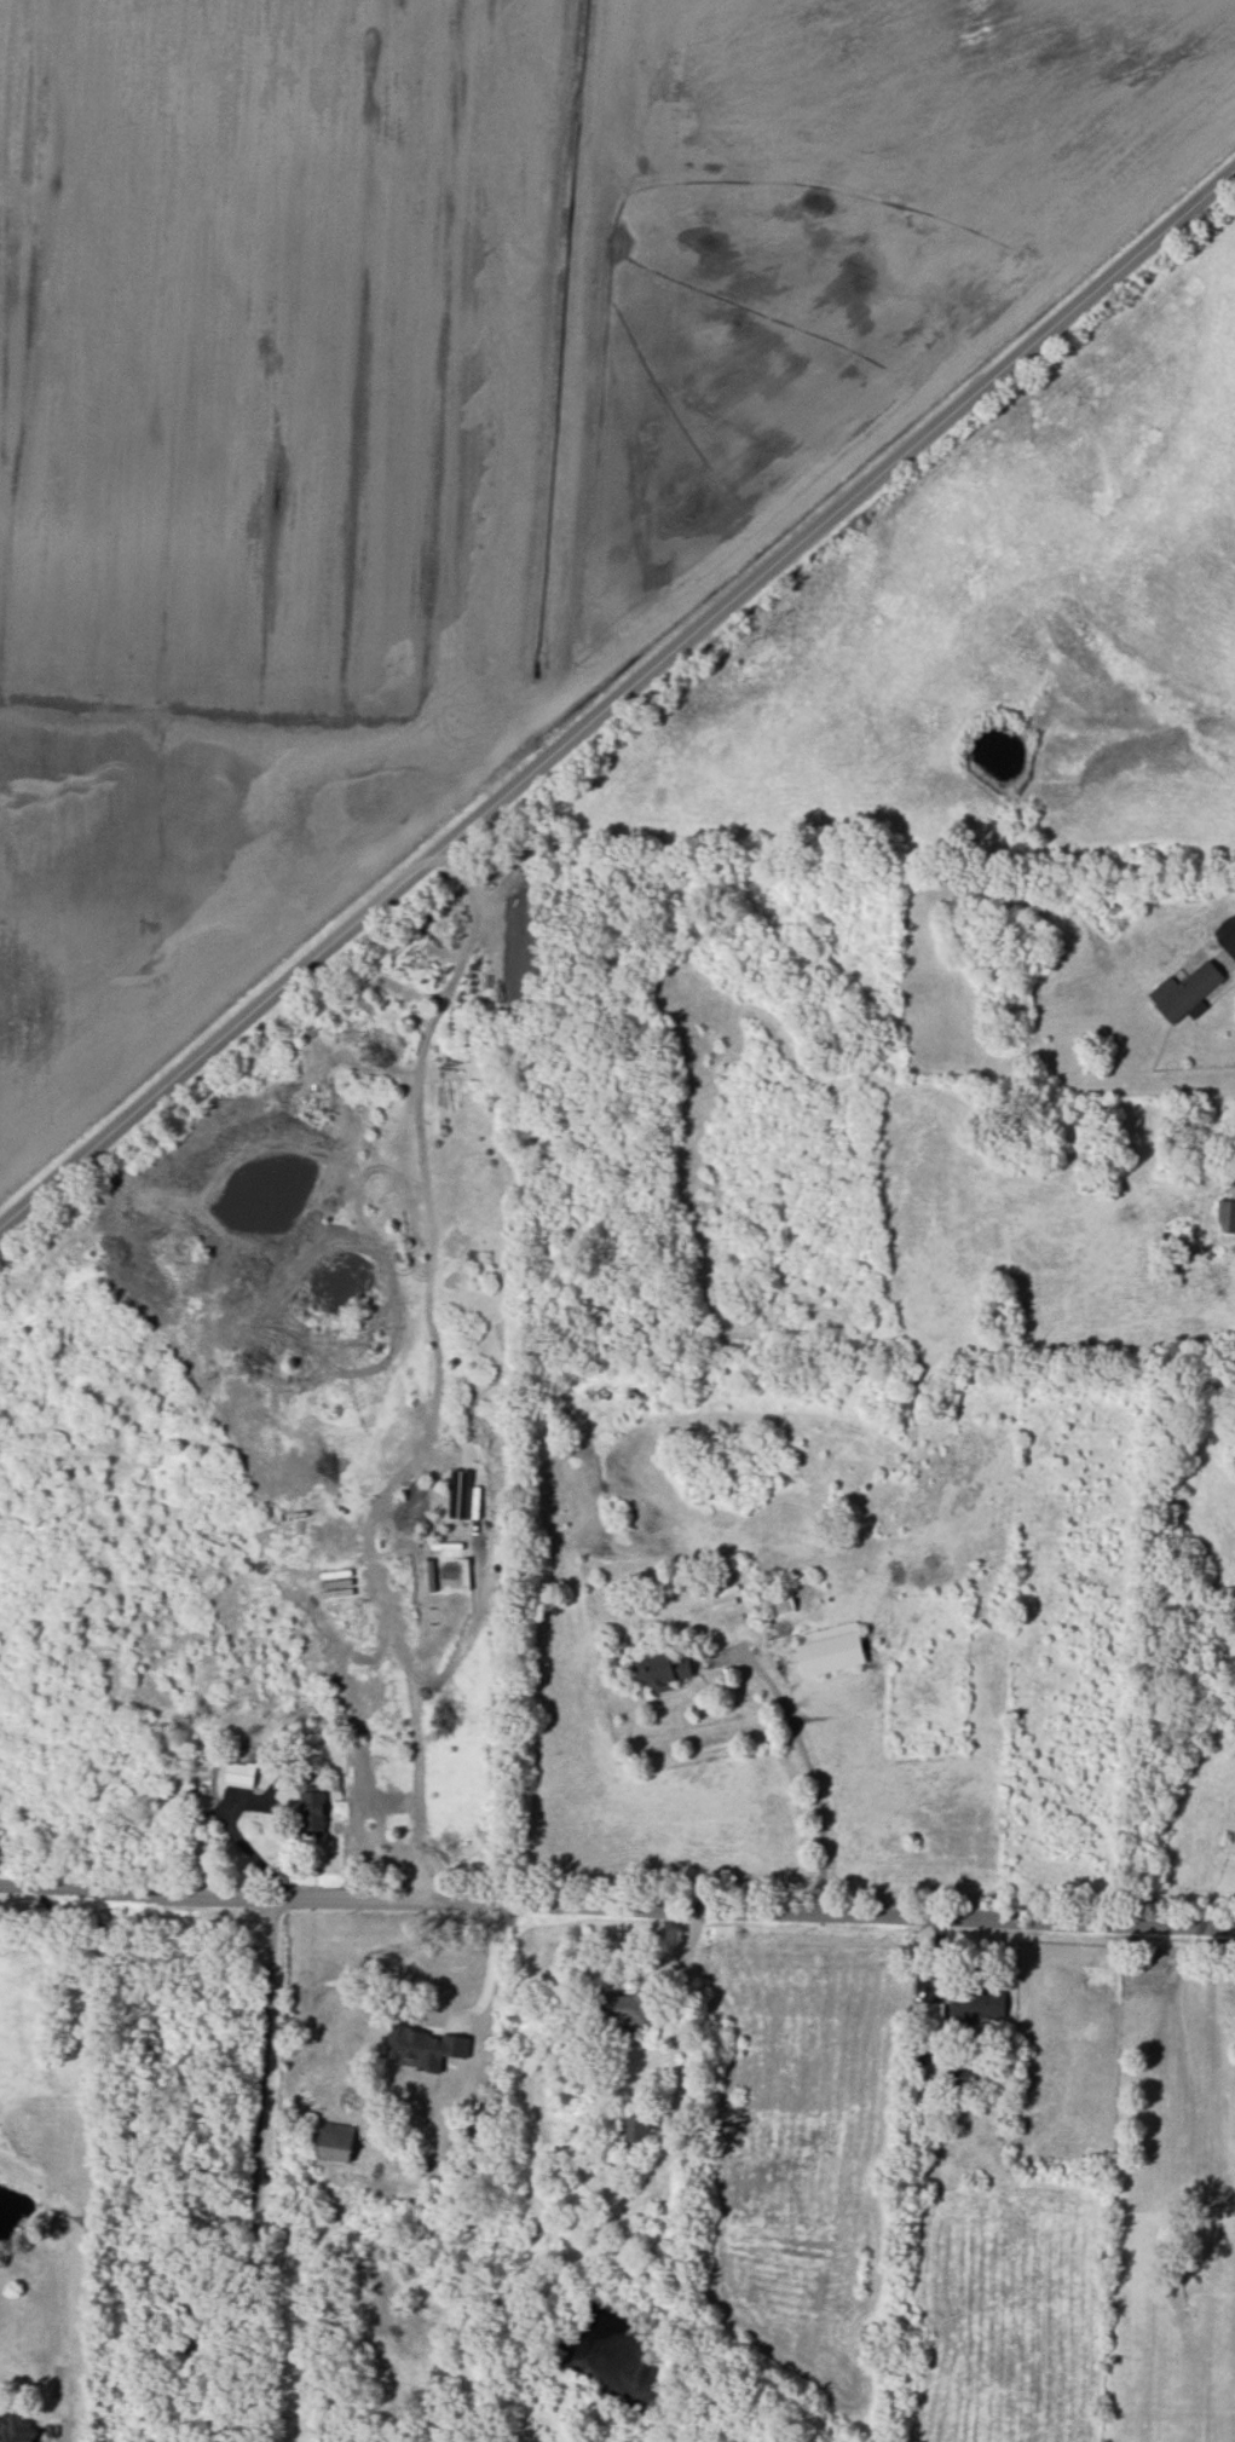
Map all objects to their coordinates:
crop: (451, 398)
road: (617, 692)
building: (1187, 992)
building: (1225, 1216)
road: (433, 1374)
building: (460, 1494)
building: (774, 1604)
building: (831, 1650)
building: (659, 1670)
road: (797, 1759)
building: (241, 1774)
building: (312, 1811)
road: (617, 1901)
road: (490, 1967)
building: (627, 2005)
building: (966, 2007)
road: (680, 2016)
building: (426, 2046)
building: (959, 2080)
building: (634, 2125)
building: (336, 2141)
road: (255, 2167)
building: (16, 2429)

